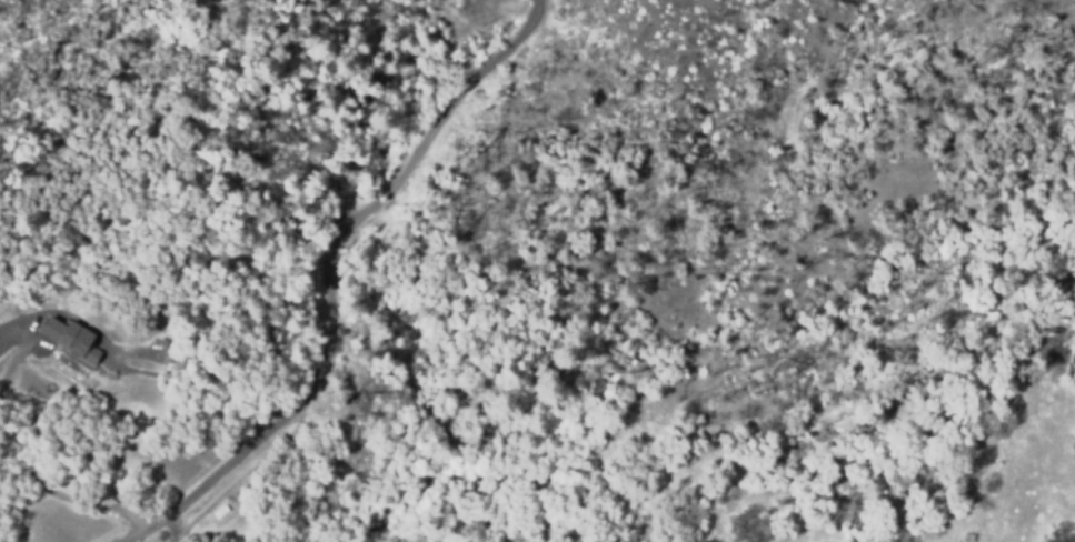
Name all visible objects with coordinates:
road: (330, 278)
building: (69, 340)

